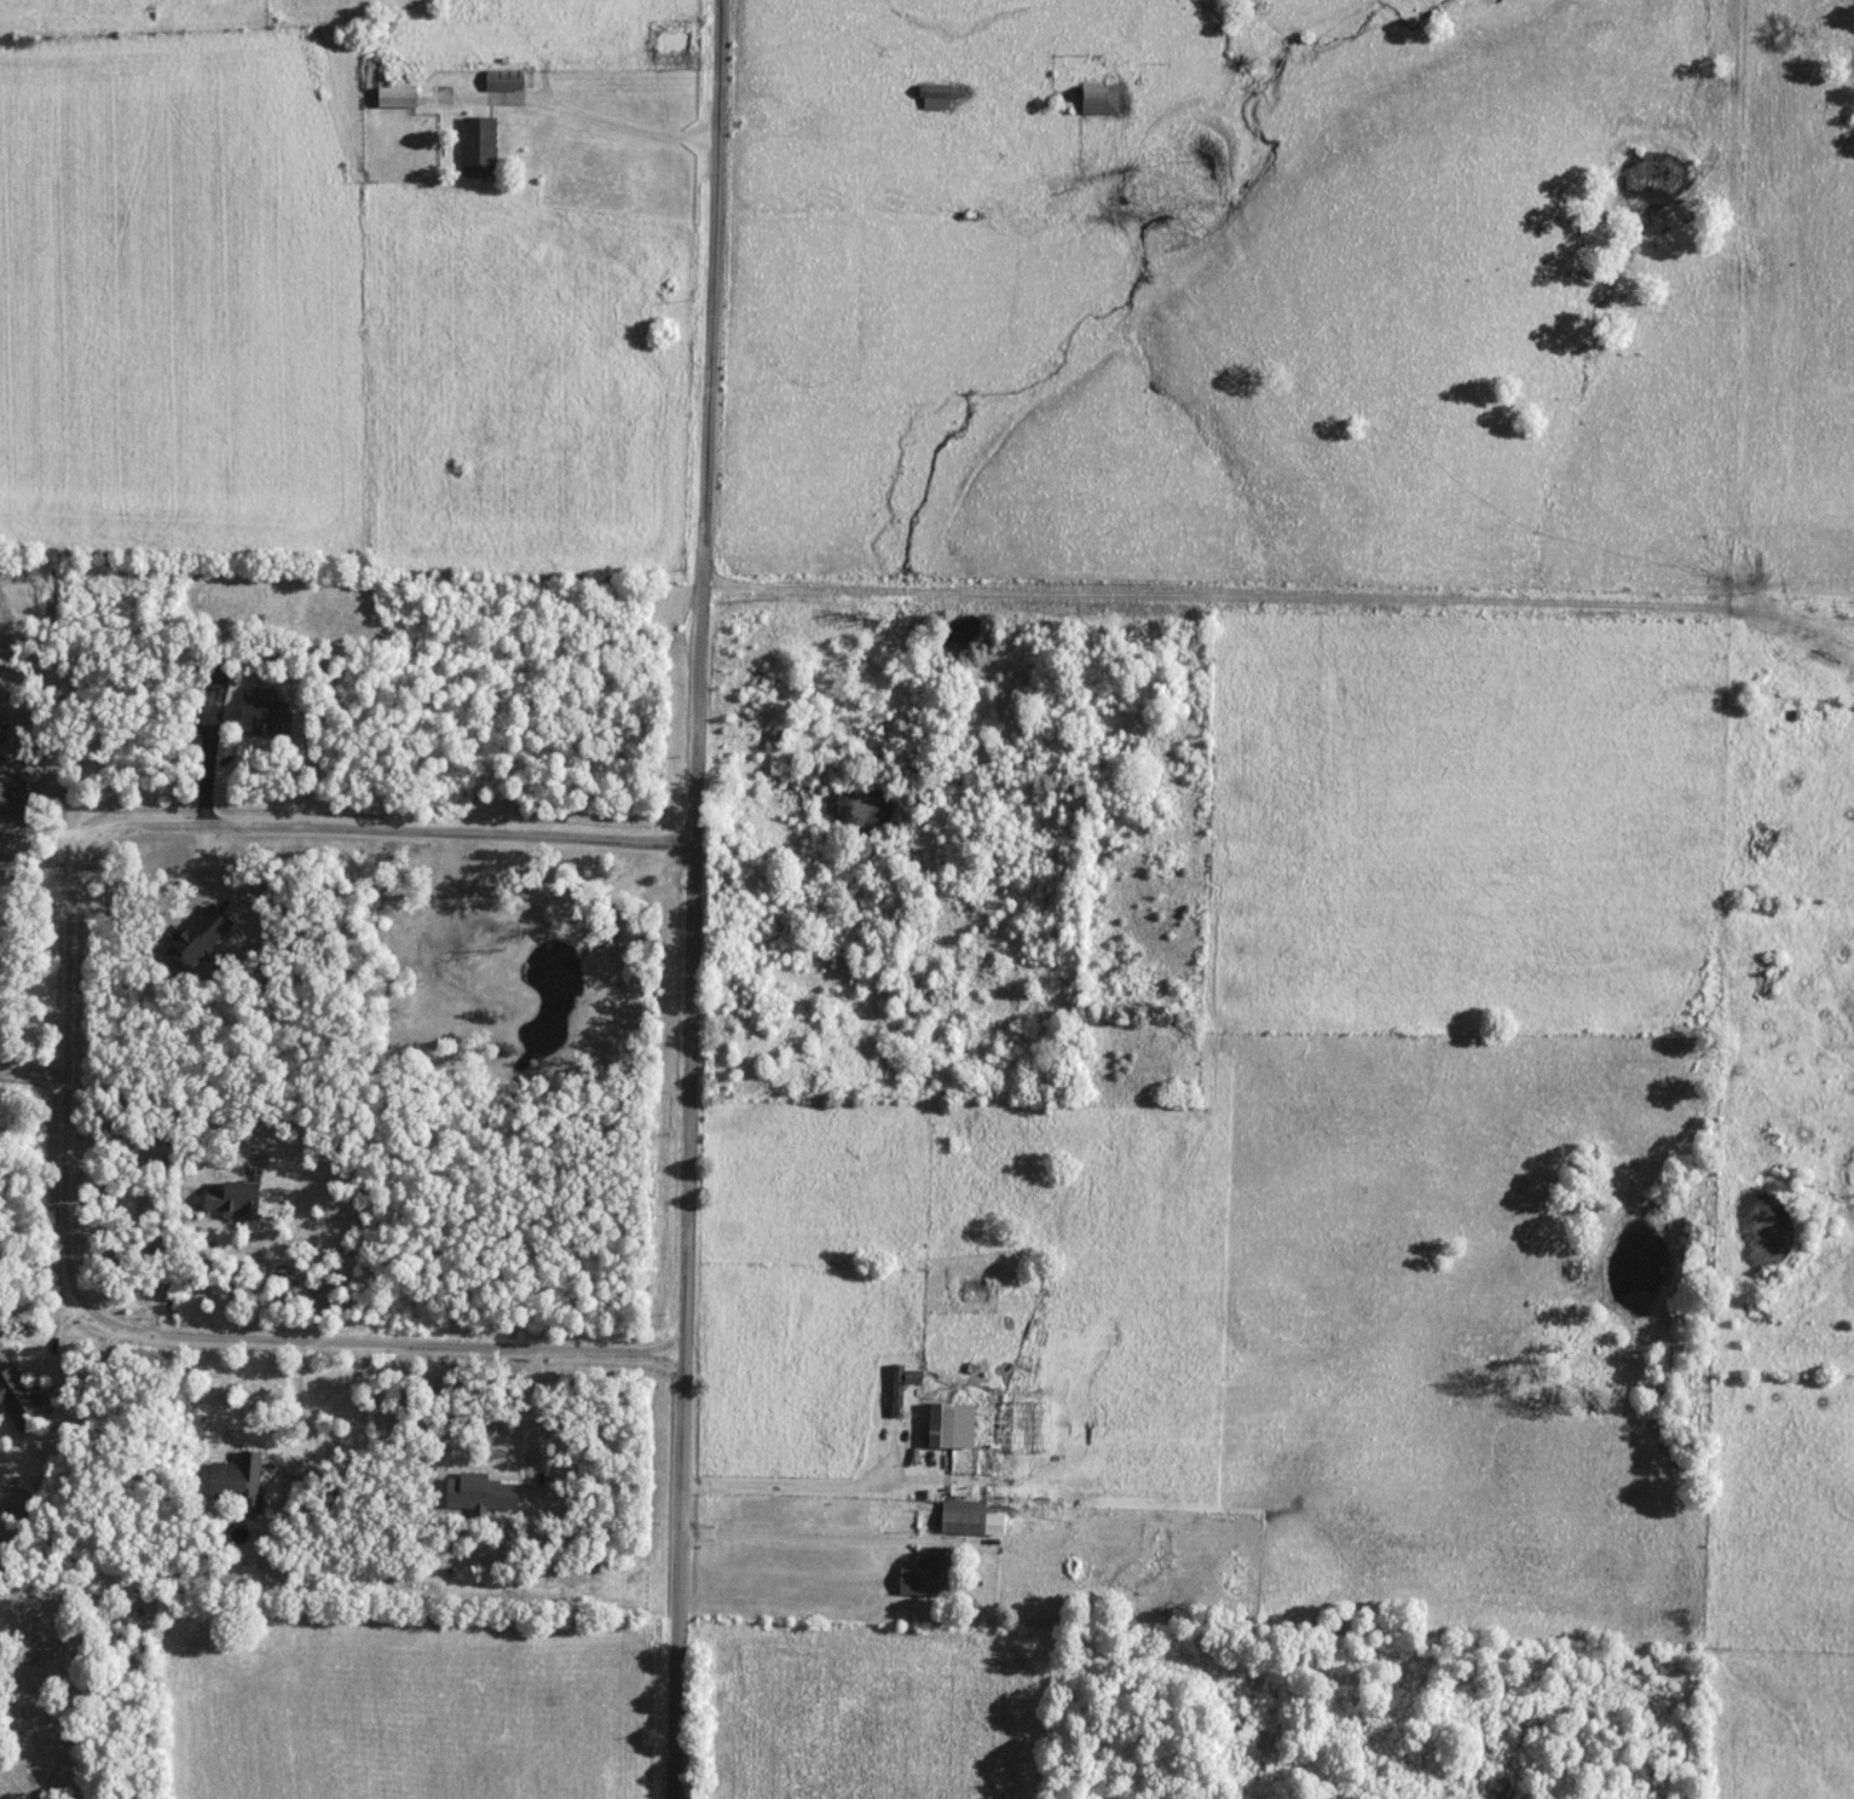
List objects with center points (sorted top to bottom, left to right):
building: (506, 81)
building: (935, 97)
building: (392, 98)
building: (1093, 99)
road: (574, 117)
building: (474, 147)
road: (1276, 596)
building: (1745, 667)
building: (213, 679)
building: (258, 715)
building: (1, 734)
building: (774, 736)
road: (394, 821)
road: (695, 898)
road: (69, 1076)
building: (224, 1199)
road: (394, 1336)
building: (901, 1390)
building: (17, 1398)
road: (538, 1416)
building: (936, 1427)
building: (233, 1482)
road: (821, 1492)
building: (966, 1520)
road: (813, 1545)
building: (922, 1579)

